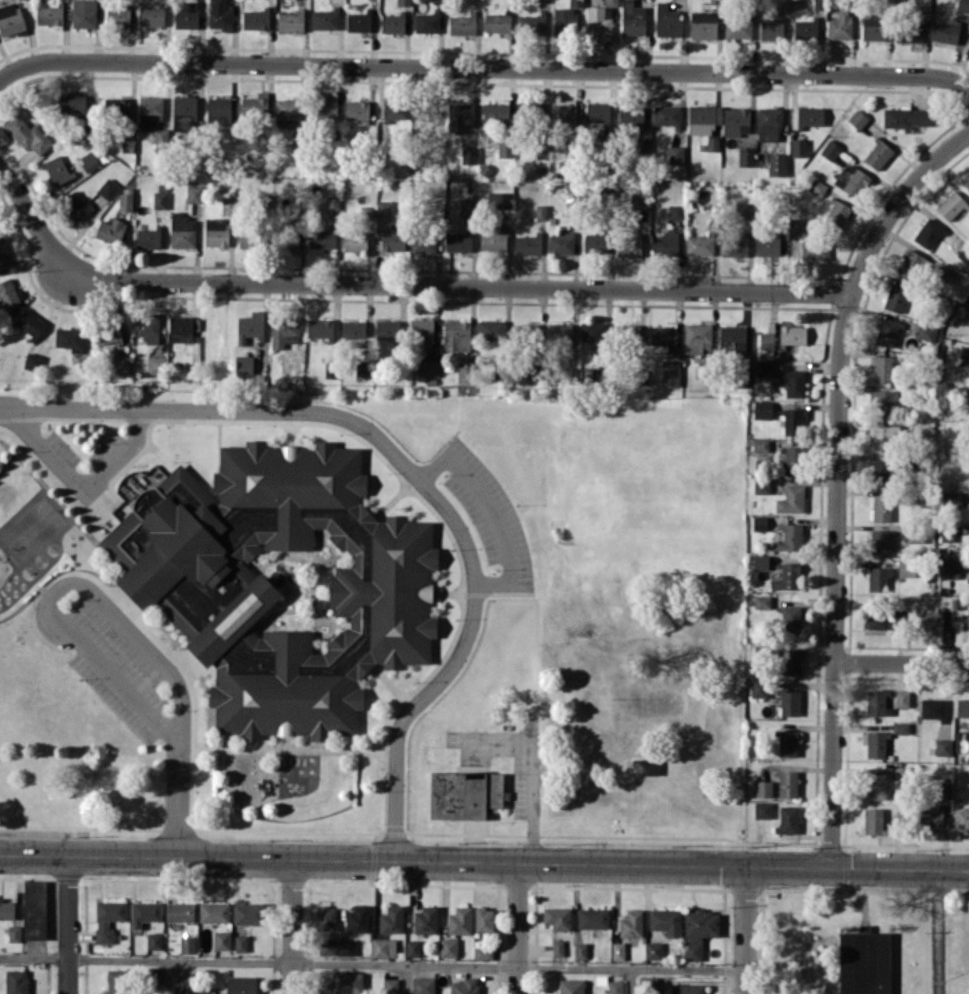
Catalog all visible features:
building: (473, 0)
building: (404, 2)
building: (576, 2)
building: (818, 4)
building: (963, 5)
building: (84, 13)
building: (186, 14)
building: (220, 14)
building: (49, 15)
building: (117, 16)
building: (151, 16)
building: (10, 18)
building: (633, 18)
building: (255, 19)
building: (325, 19)
building: (600, 19)
building: (564, 20)
building: (290, 21)
building: (358, 21)
building: (667, 21)
building: (426, 22)
building: (497, 22)
building: (392, 23)
building: (462, 24)
building: (532, 24)
building: (703, 25)
building: (840, 25)
building: (738, 26)
building: (873, 27)
building: (771, 29)
building: (805, 29)
building: (909, 32)
building: (945, 32)
road: (483, 68)
building: (72, 104)
building: (255, 105)
building: (117, 107)
building: (327, 107)
building: (288, 108)
building: (395, 109)
building: (218, 110)
building: (357, 110)
building: (495, 112)
building: (597, 112)
building: (184, 113)
building: (563, 113)
building: (632, 115)
building: (666, 115)
building: (460, 116)
building: (810, 116)
building: (152, 117)
building: (907, 117)
building: (703, 118)
building: (857, 118)
building: (736, 121)
building: (769, 123)
building: (27, 134)
building: (712, 143)
building: (127, 144)
building: (642, 145)
building: (798, 147)
building: (505, 149)
building: (830, 149)
building: (877, 153)
building: (676, 154)
building: (468, 155)
building: (745, 156)
building: (89, 160)
building: (777, 164)
building: (58, 169)
building: (851, 179)
building: (966, 182)
building: (816, 187)
building: (108, 188)
building: (194, 193)
building: (160, 199)
building: (500, 199)
building: (639, 200)
building: (125, 201)
building: (76, 205)
building: (468, 205)
building: (952, 205)
building: (384, 208)
building: (743, 210)
building: (675, 211)
building: (540, 212)
building: (836, 212)
building: (365, 213)
building: (110, 230)
building: (182, 230)
building: (216, 231)
building: (928, 233)
building: (148, 237)
building: (321, 238)
building: (248, 239)
building: (291, 239)
building: (392, 239)
building: (494, 239)
building: (354, 240)
building: (807, 240)
building: (458, 241)
building: (423, 242)
building: (561, 243)
building: (595, 243)
building: (665, 243)
building: (527, 244)
building: (629, 244)
building: (699, 244)
building: (767, 245)
building: (734, 246)
building: (2, 251)
building: (911, 264)
building: (945, 272)
road: (395, 285)
building: (9, 293)
building: (895, 297)
building: (967, 309)
building: (30, 323)
building: (250, 326)
building: (147, 328)
building: (320, 328)
building: (182, 329)
building: (387, 329)
building: (491, 330)
building: (354, 331)
building: (526, 331)
building: (284, 332)
building: (422, 332)
building: (626, 332)
building: (887, 332)
building: (926, 332)
building: (106, 333)
building: (560, 333)
building: (595, 333)
building: (457, 334)
building: (792, 334)
building: (665, 335)
building: (697, 337)
building: (69, 338)
building: (732, 339)
building: (766, 340)
building: (964, 352)
building: (33, 362)
building: (122, 364)
building: (155, 364)
building: (246, 364)
building: (431, 368)
building: (765, 368)
building: (883, 368)
building: (330, 369)
building: (363, 370)
building: (670, 374)
building: (465, 375)
building: (792, 382)
building: (883, 397)
building: (762, 409)
building: (793, 420)
building: (921, 429)
building: (884, 437)
building: (760, 445)
building: (791, 459)
building: (879, 469)
road: (412, 473)
road: (838, 479)
building: (761, 485)
road: (78, 489)
building: (951, 498)
building: (791, 499)
building: (880, 507)
building: (759, 522)
building: (789, 537)
building: (879, 542)
building: (760, 561)
building: (907, 568)
building: (950, 569)
building: (787, 577)
building: (878, 578)
building: (281, 583)
building: (762, 601)
road: (102, 603)
building: (968, 616)
building: (789, 619)
building: (878, 619)
building: (928, 620)
building: (791, 661)
road: (902, 664)
building: (758, 687)
building: (902, 698)
building: (789, 702)
building: (877, 702)
building: (962, 707)
building: (932, 708)
building: (900, 727)
building: (787, 743)
building: (875, 744)
building: (943, 747)
building: (645, 766)
road: (532, 776)
building: (787, 783)
building: (876, 785)
building: (763, 788)
building: (945, 792)
building: (465, 794)
building: (762, 809)
building: (930, 817)
building: (961, 817)
building: (788, 819)
building: (874, 821)
road: (484, 863)
building: (6, 909)
building: (34, 909)
building: (179, 911)
building: (144, 912)
building: (214, 912)
building: (249, 913)
building: (325, 917)
building: (557, 917)
building: (108, 918)
building: (593, 918)
building: (357, 919)
building: (392, 919)
building: (484, 919)
building: (425, 920)
building: (460, 920)
building: (665, 921)
building: (631, 923)
road: (69, 924)
road: (296, 926)
road: (521, 929)
building: (698, 931)
road: (746, 931)
road: (933, 932)
building: (14, 933)
building: (154, 940)
building: (221, 940)
building: (240, 943)
building: (187, 944)
building: (327, 946)
building: (346, 947)
building: (383, 947)
building: (413, 947)
building: (448, 947)
building: (558, 947)
building: (580, 950)
building: (618, 950)
building: (653, 950)
building: (483, 952)
road: (35, 958)
building: (864, 962)
road: (408, 964)
building: (156, 977)
road: (180, 977)
road: (408, 979)
building: (16, 981)
building: (117, 981)
road: (632, 981)
building: (346, 982)
building: (647, 983)
building: (241, 985)
building: (423, 985)
building: (390, 986)
building: (464, 986)
building: (571, 986)
building: (615, 986)
building: (687, 988)
building: (200, 991)

